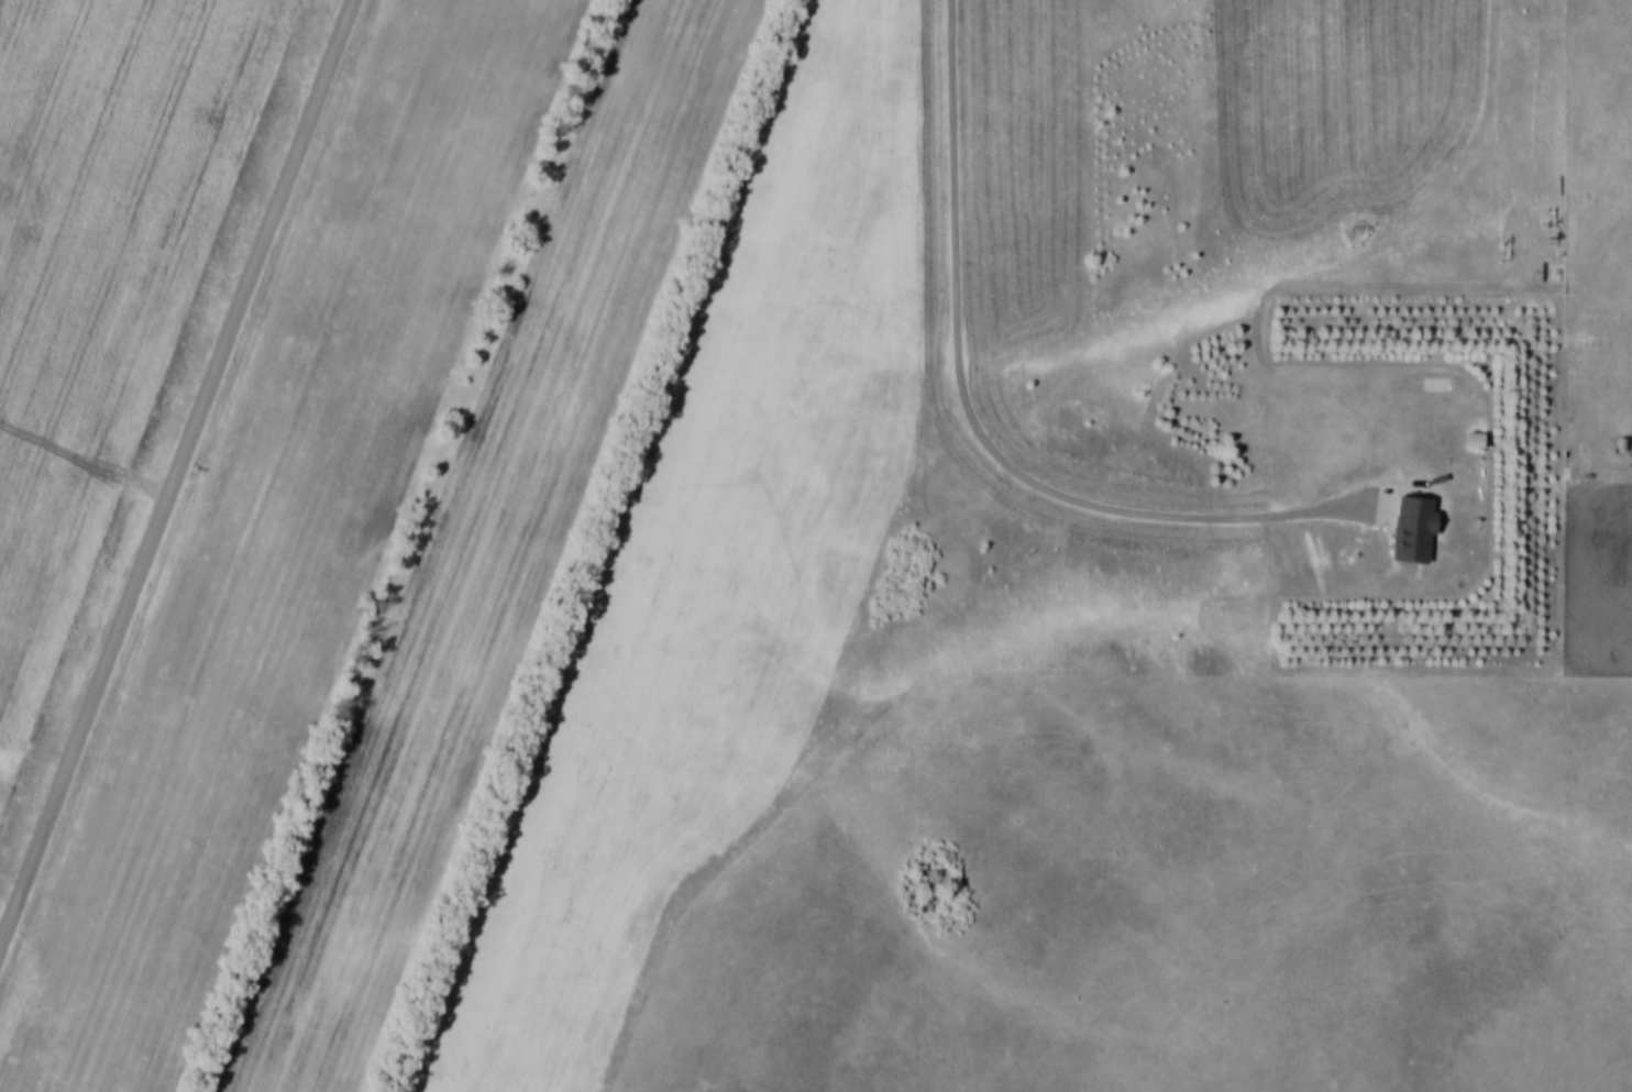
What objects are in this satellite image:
building: (1475, 438)
road: (86, 456)
road: (178, 474)
building: (1413, 527)

